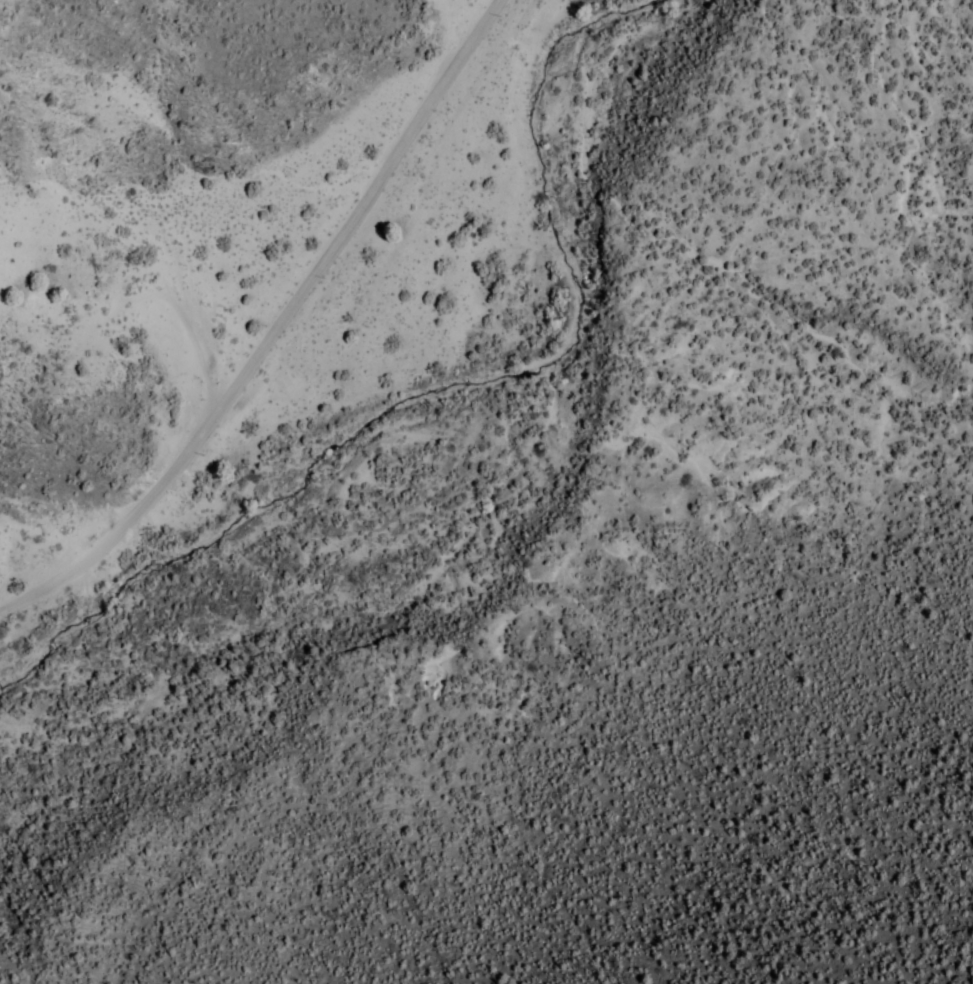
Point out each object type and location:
road: (272, 331)

